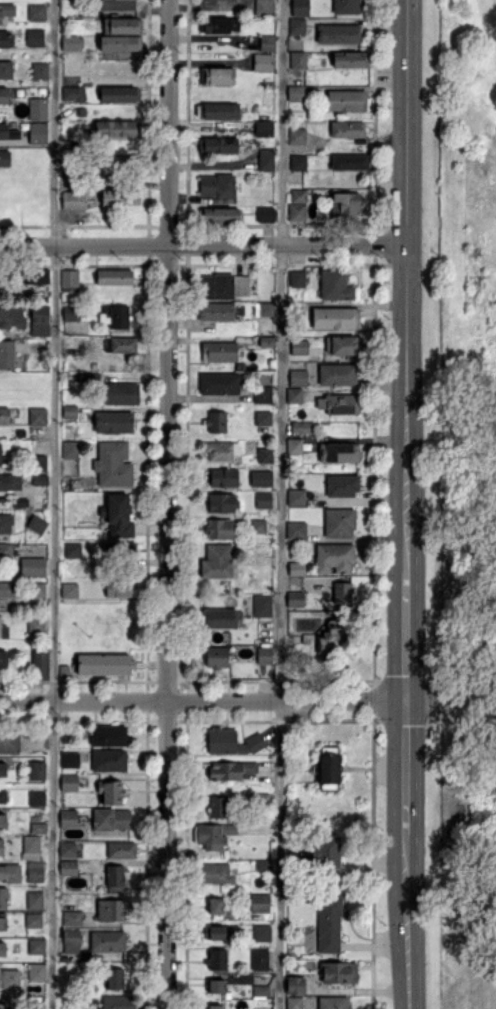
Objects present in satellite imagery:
building: (117, 5)
building: (345, 6)
building: (264, 7)
building: (300, 7)
building: (6, 10)
building: (36, 12)
building: (121, 24)
building: (220, 24)
building: (296, 25)
building: (338, 33)
building: (35, 37)
road: (208, 37)
building: (5, 38)
building: (72, 42)
building: (120, 42)
building: (266, 42)
building: (297, 59)
building: (350, 59)
building: (262, 61)
building: (6, 69)
building: (39, 70)
building: (217, 75)
building: (295, 92)
building: (73, 93)
building: (119, 93)
building: (4, 94)
building: (346, 100)
building: (37, 108)
building: (217, 110)
building: (115, 128)
building: (263, 128)
building: (347, 128)
building: (8, 132)
building: (37, 132)
building: (296, 135)
building: (217, 145)
building: (5, 157)
building: (266, 159)
building: (115, 161)
building: (349, 161)
building: (297, 162)
building: (216, 185)
building: (119, 196)
building: (73, 199)
building: (297, 204)
building: (344, 206)
building: (265, 214)
building: (219, 215)
road: (202, 245)
building: (3, 276)
building: (35, 276)
building: (114, 276)
building: (69, 277)
building: (297, 278)
building: (224, 285)
building: (334, 285)
road: (406, 286)
building: (263, 309)
building: (216, 311)
building: (71, 312)
building: (12, 316)
building: (119, 316)
building: (335, 317)
building: (39, 320)
building: (266, 341)
building: (120, 344)
building: (343, 345)
building: (298, 346)
building: (218, 351)
building: (6, 354)
building: (337, 373)
building: (297, 377)
building: (218, 382)
building: (121, 393)
building: (262, 394)
building: (294, 395)
building: (69, 411)
building: (4, 415)
building: (37, 415)
building: (262, 417)
building: (216, 420)
building: (113, 422)
building: (299, 426)
building: (294, 445)
building: (69, 449)
building: (221, 450)
building: (339, 452)
building: (1, 453)
building: (264, 454)
building: (40, 462)
building: (113, 464)
building: (223, 476)
building: (261, 478)
building: (39, 479)
building: (10, 481)
building: (341, 485)
building: (295, 496)
park: (460, 498)
building: (263, 499)
building: (222, 502)
road: (53, 504)
road: (167, 504)
road: (280, 504)
building: (119, 515)
building: (339, 522)
building: (5, 523)
building: (36, 523)
building: (258, 525)
building: (220, 528)
building: (296, 530)
building: (72, 549)
building: (5, 550)
building: (334, 557)
building: (217, 561)
building: (33, 566)
building: (296, 568)
building: (7, 588)
building: (117, 588)
building: (36, 589)
building: (69, 590)
building: (341, 591)
building: (295, 598)
building: (262, 605)
building: (219, 618)
building: (36, 625)
building: (3, 630)
road: (405, 637)
building: (263, 654)
building: (216, 657)
building: (3, 659)
building: (40, 662)
building: (104, 664)
road: (450, 699)
road: (202, 701)
traffic signals: (405, 701)
building: (109, 735)
building: (9, 741)
building: (231, 741)
building: (69, 759)
building: (108, 759)
road: (405, 766)
building: (3, 768)
building: (328, 768)
building: (230, 769)
building: (36, 770)
building: (69, 782)
building: (112, 792)
building: (2, 796)
building: (36, 797)
building: (217, 806)
building: (68, 817)
building: (111, 818)
building: (2, 820)
building: (38, 827)
building: (214, 835)
building: (1, 846)
building: (30, 846)
building: (67, 848)
building: (121, 849)
building: (326, 851)
building: (263, 864)
building: (67, 867)
building: (35, 871)
building: (10, 872)
building: (217, 872)
building: (114, 878)
building: (3, 897)
building: (34, 899)
building: (259, 902)
building: (215, 905)
building: (110, 909)
building: (71, 917)
building: (33, 919)
road: (407, 920)
building: (2, 923)
building: (328, 923)
building: (214, 932)
building: (261, 932)
road: (474, 934)
building: (71, 940)
building: (107, 940)
building: (36, 946)
building: (2, 948)
building: (217, 958)
building: (259, 959)
building: (36, 972)
building: (338, 972)
building: (10, 977)
building: (114, 978)
building: (294, 984)
building: (216, 985)
building: (260, 990)
building: (118, 1002)
building: (294, 1002)
building: (334, 1002)
building: (3, 1005)
building: (214, 1006)

